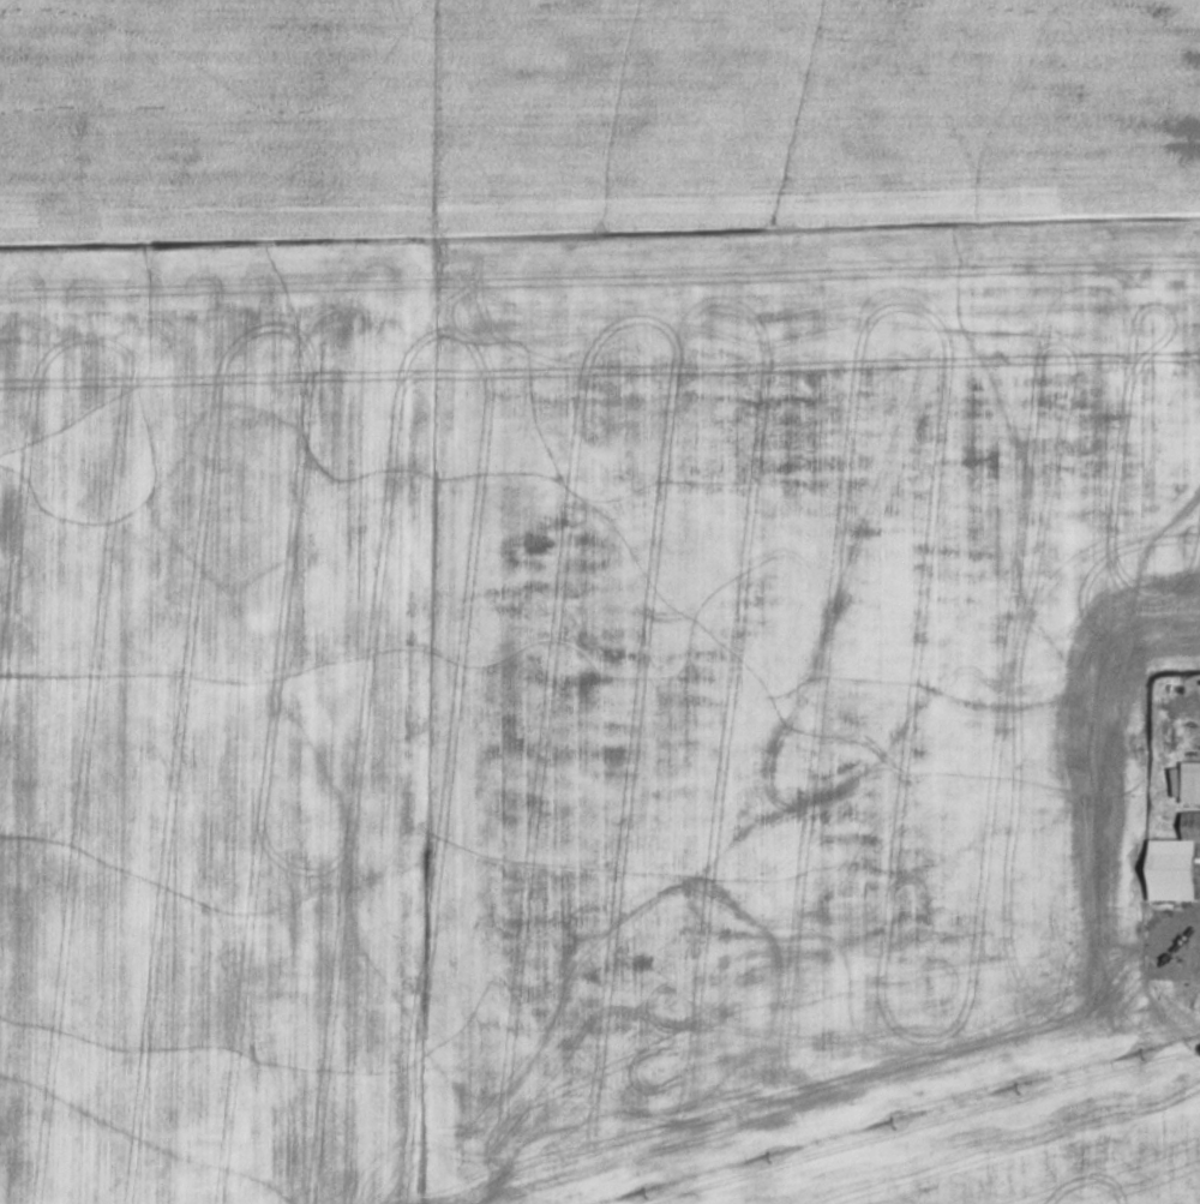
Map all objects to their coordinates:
building: (1193, 784)
building: (1178, 867)

